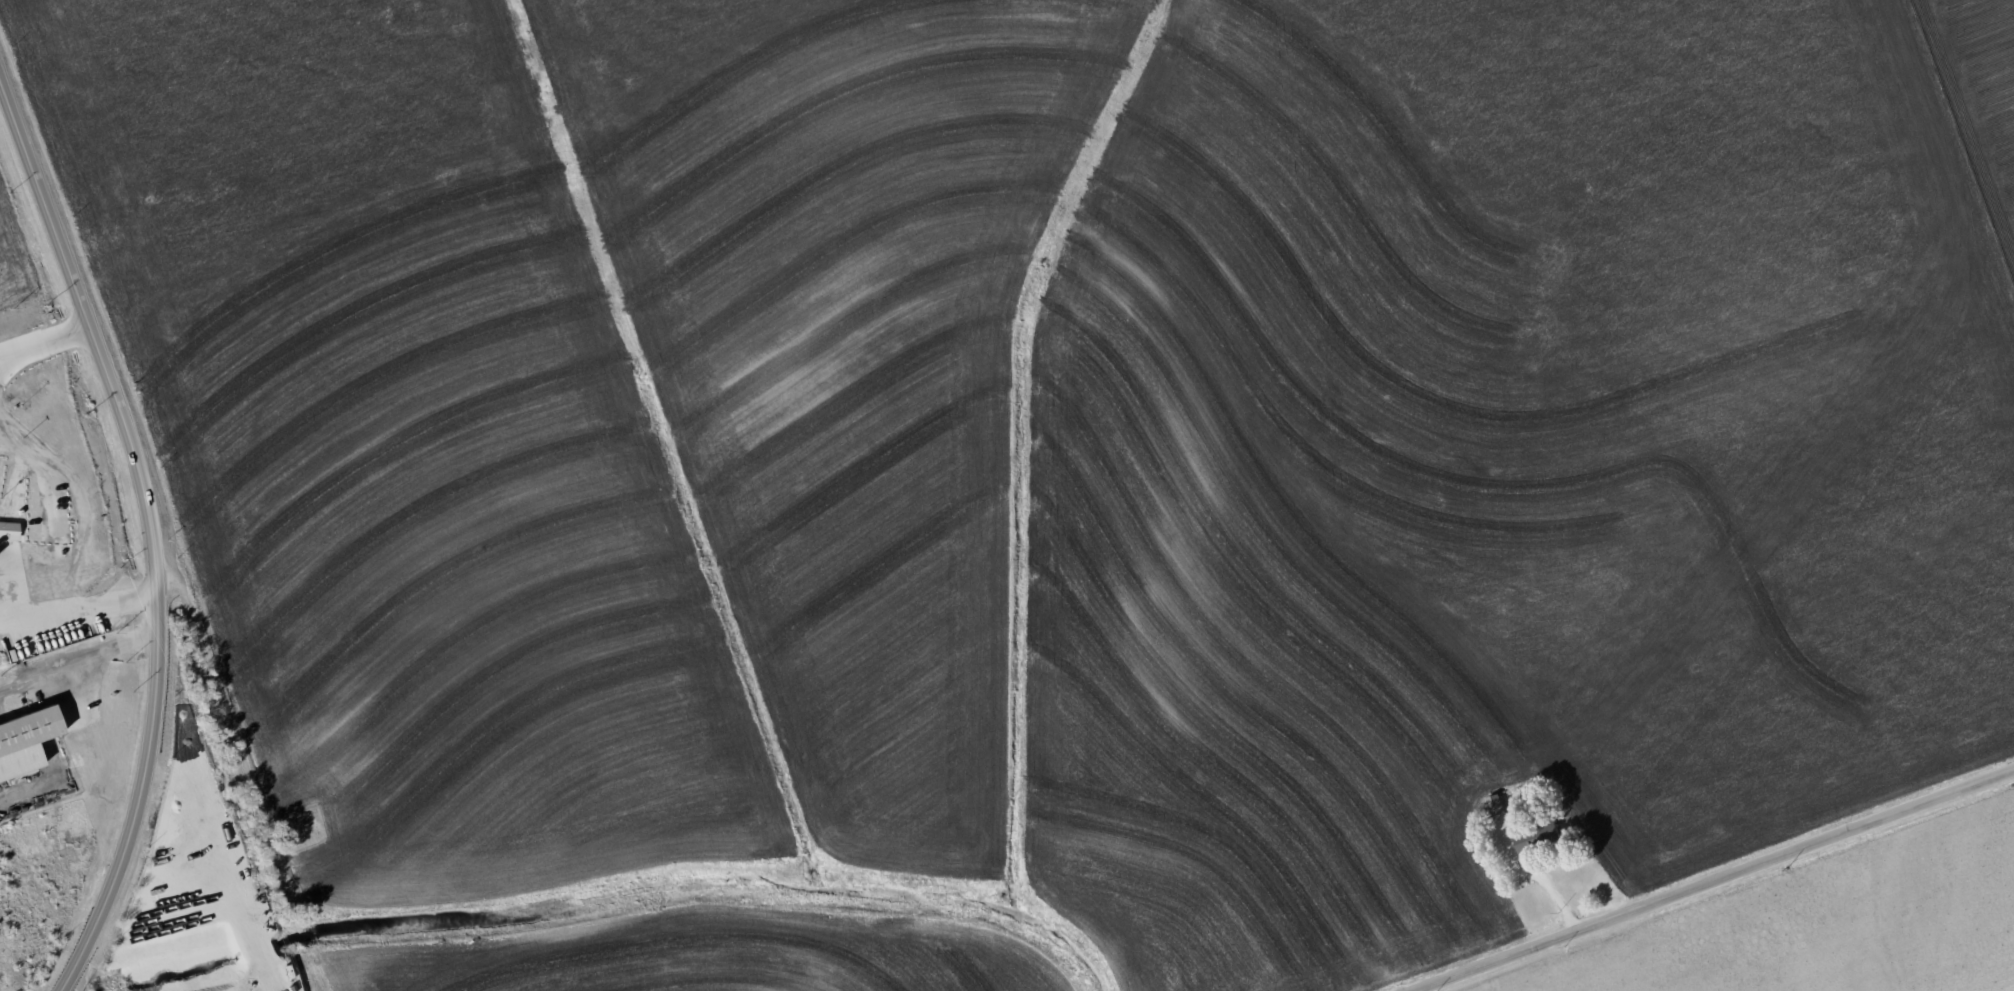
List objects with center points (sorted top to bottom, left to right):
road: (42, 337)
road: (147, 532)
road: (81, 602)
road: (77, 660)
road: (222, 709)
building: (23, 742)
road: (29, 785)
building: (1495, 805)
park: (299, 829)
building: (1536, 837)
road: (1537, 875)
road: (1713, 880)
road: (67, 986)
road: (1415, 990)

